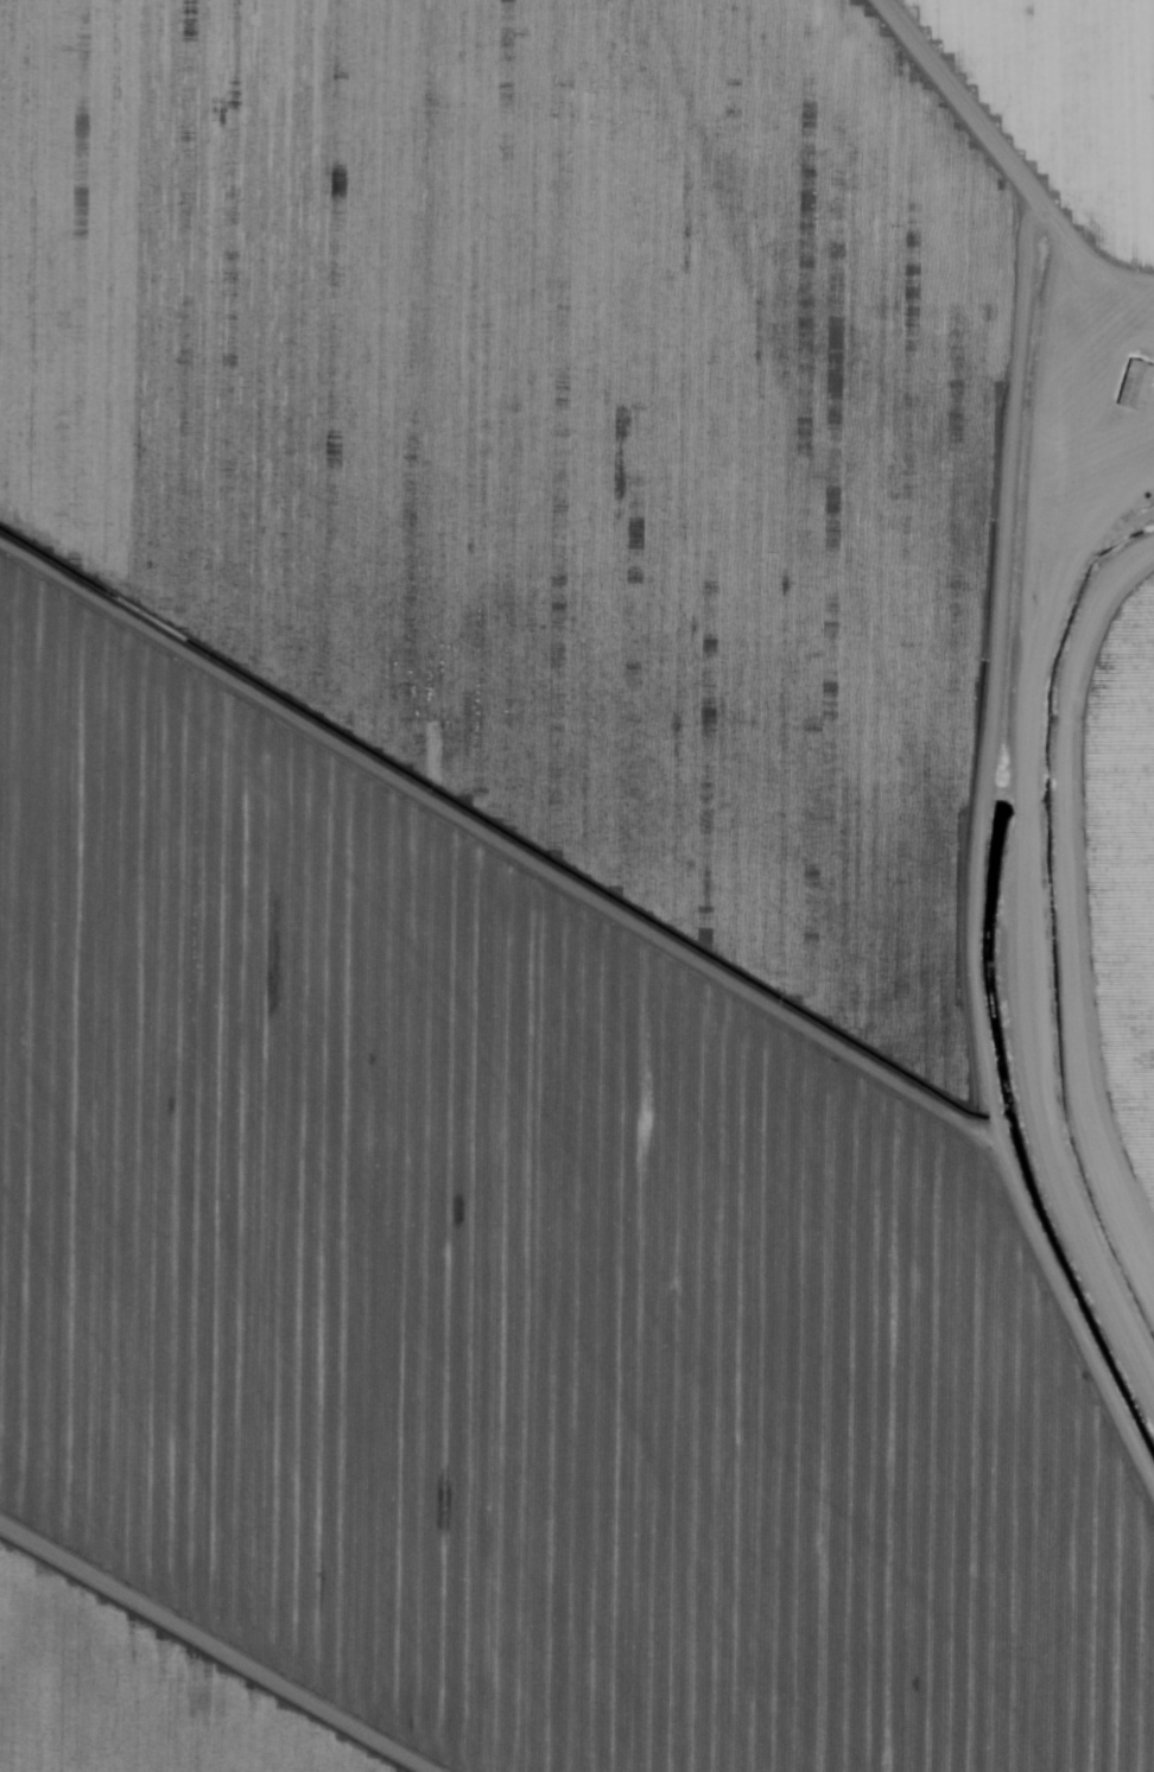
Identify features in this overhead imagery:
crop: (562, 885)
road: (1021, 900)
crop: (1109, 912)

